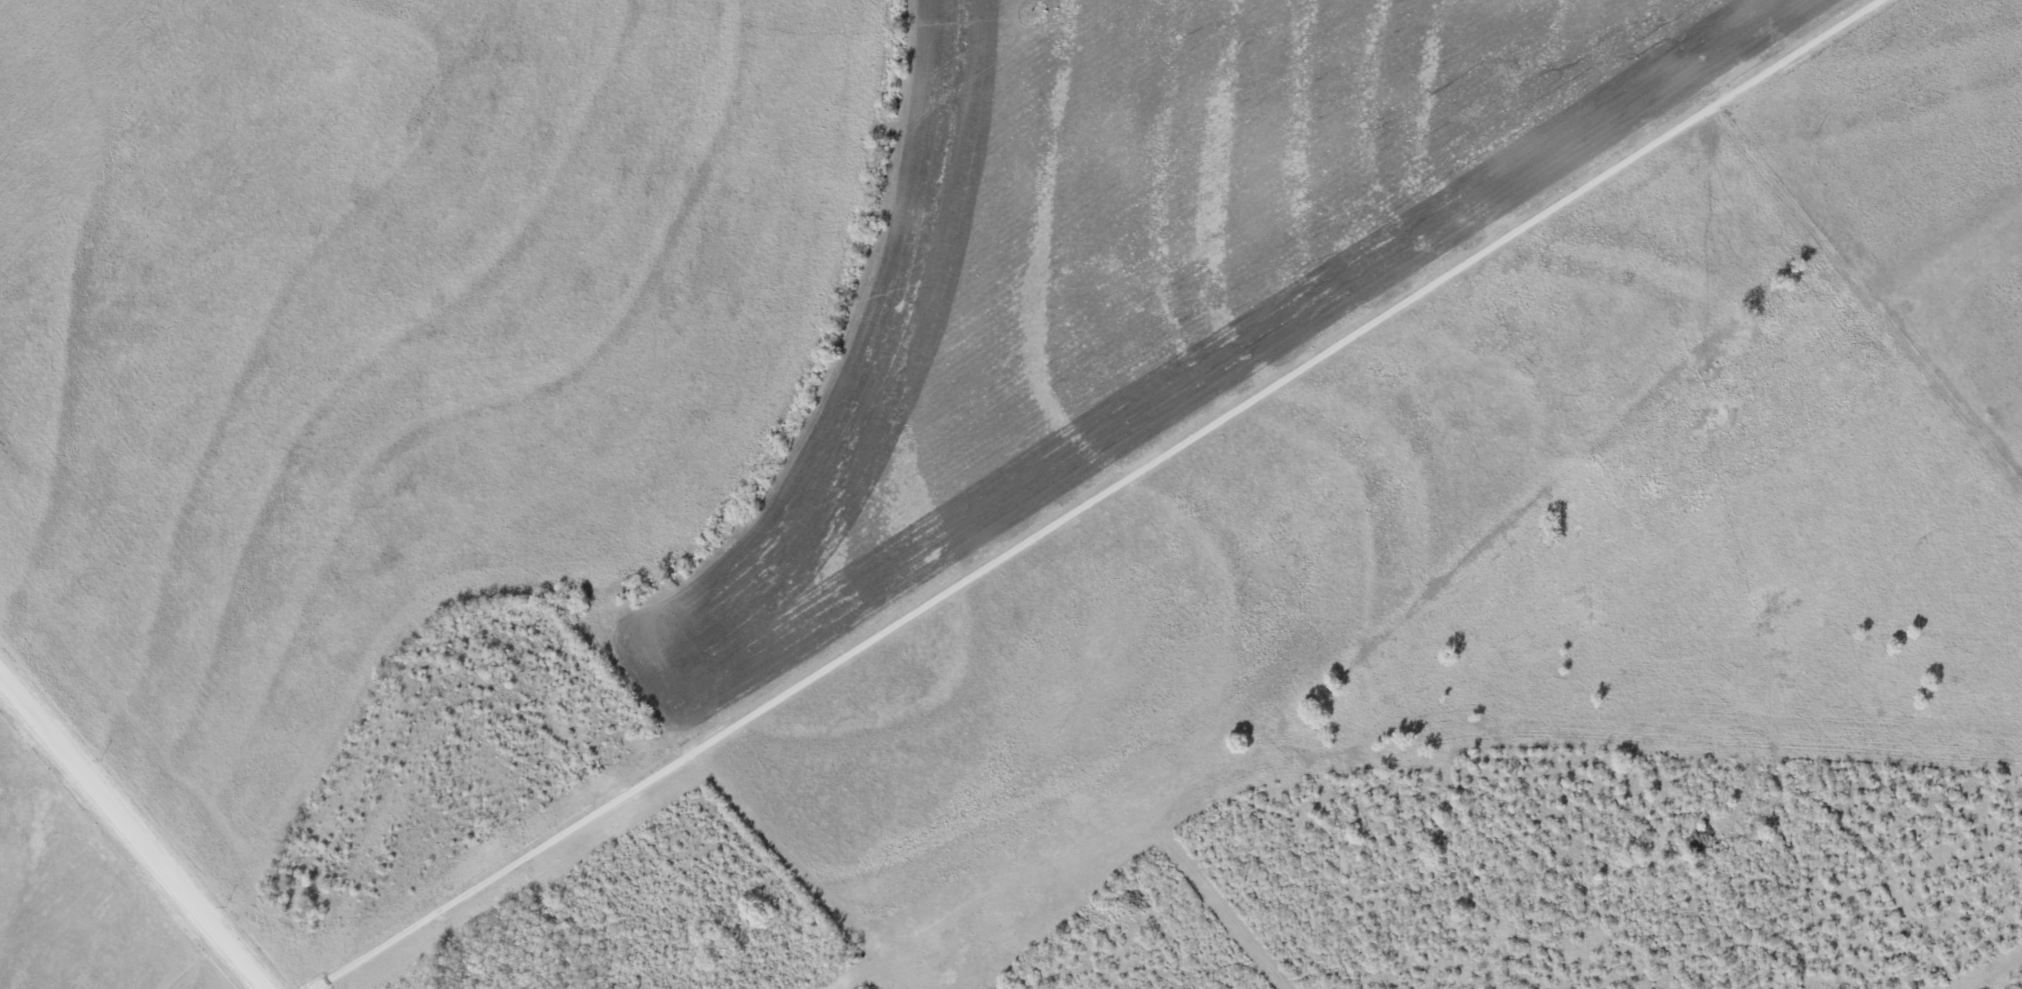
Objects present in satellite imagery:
road: (1112, 494)
road: (137, 826)

